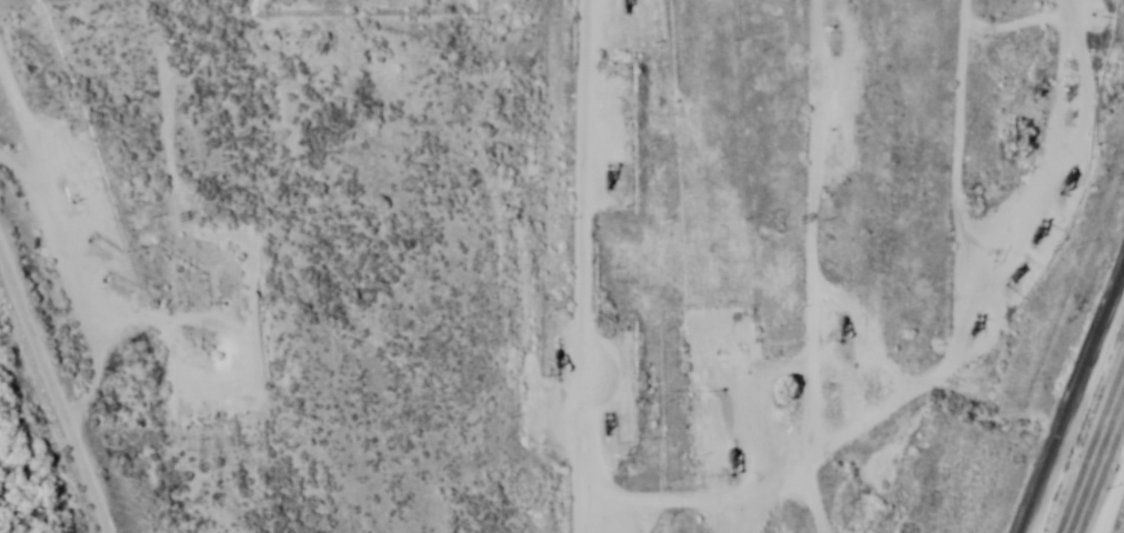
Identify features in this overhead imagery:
road: (540, 266)
road: (784, 339)
road: (70, 352)
railway: (1072, 394)
railway: (1091, 447)
railway: (1096, 463)
railway: (1102, 477)
road: (1106, 486)

